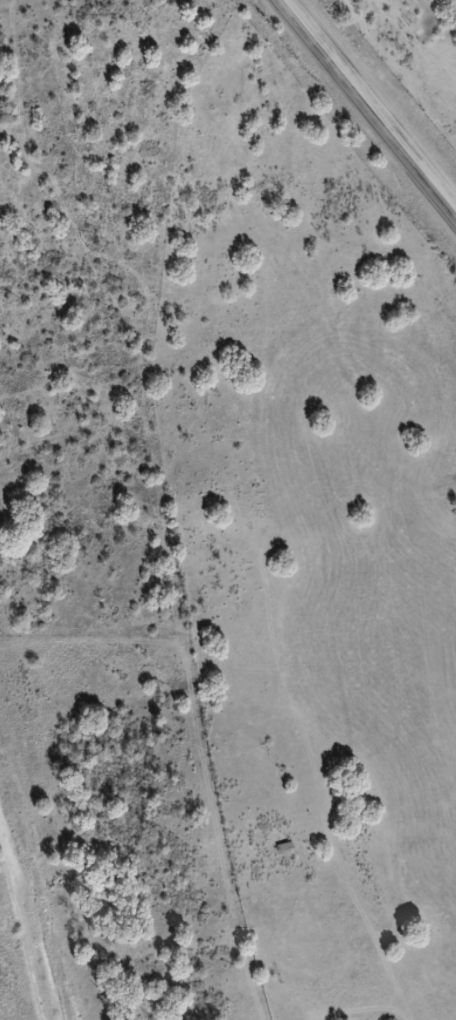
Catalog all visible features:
road: (371, 103)
road: (199, 670)

